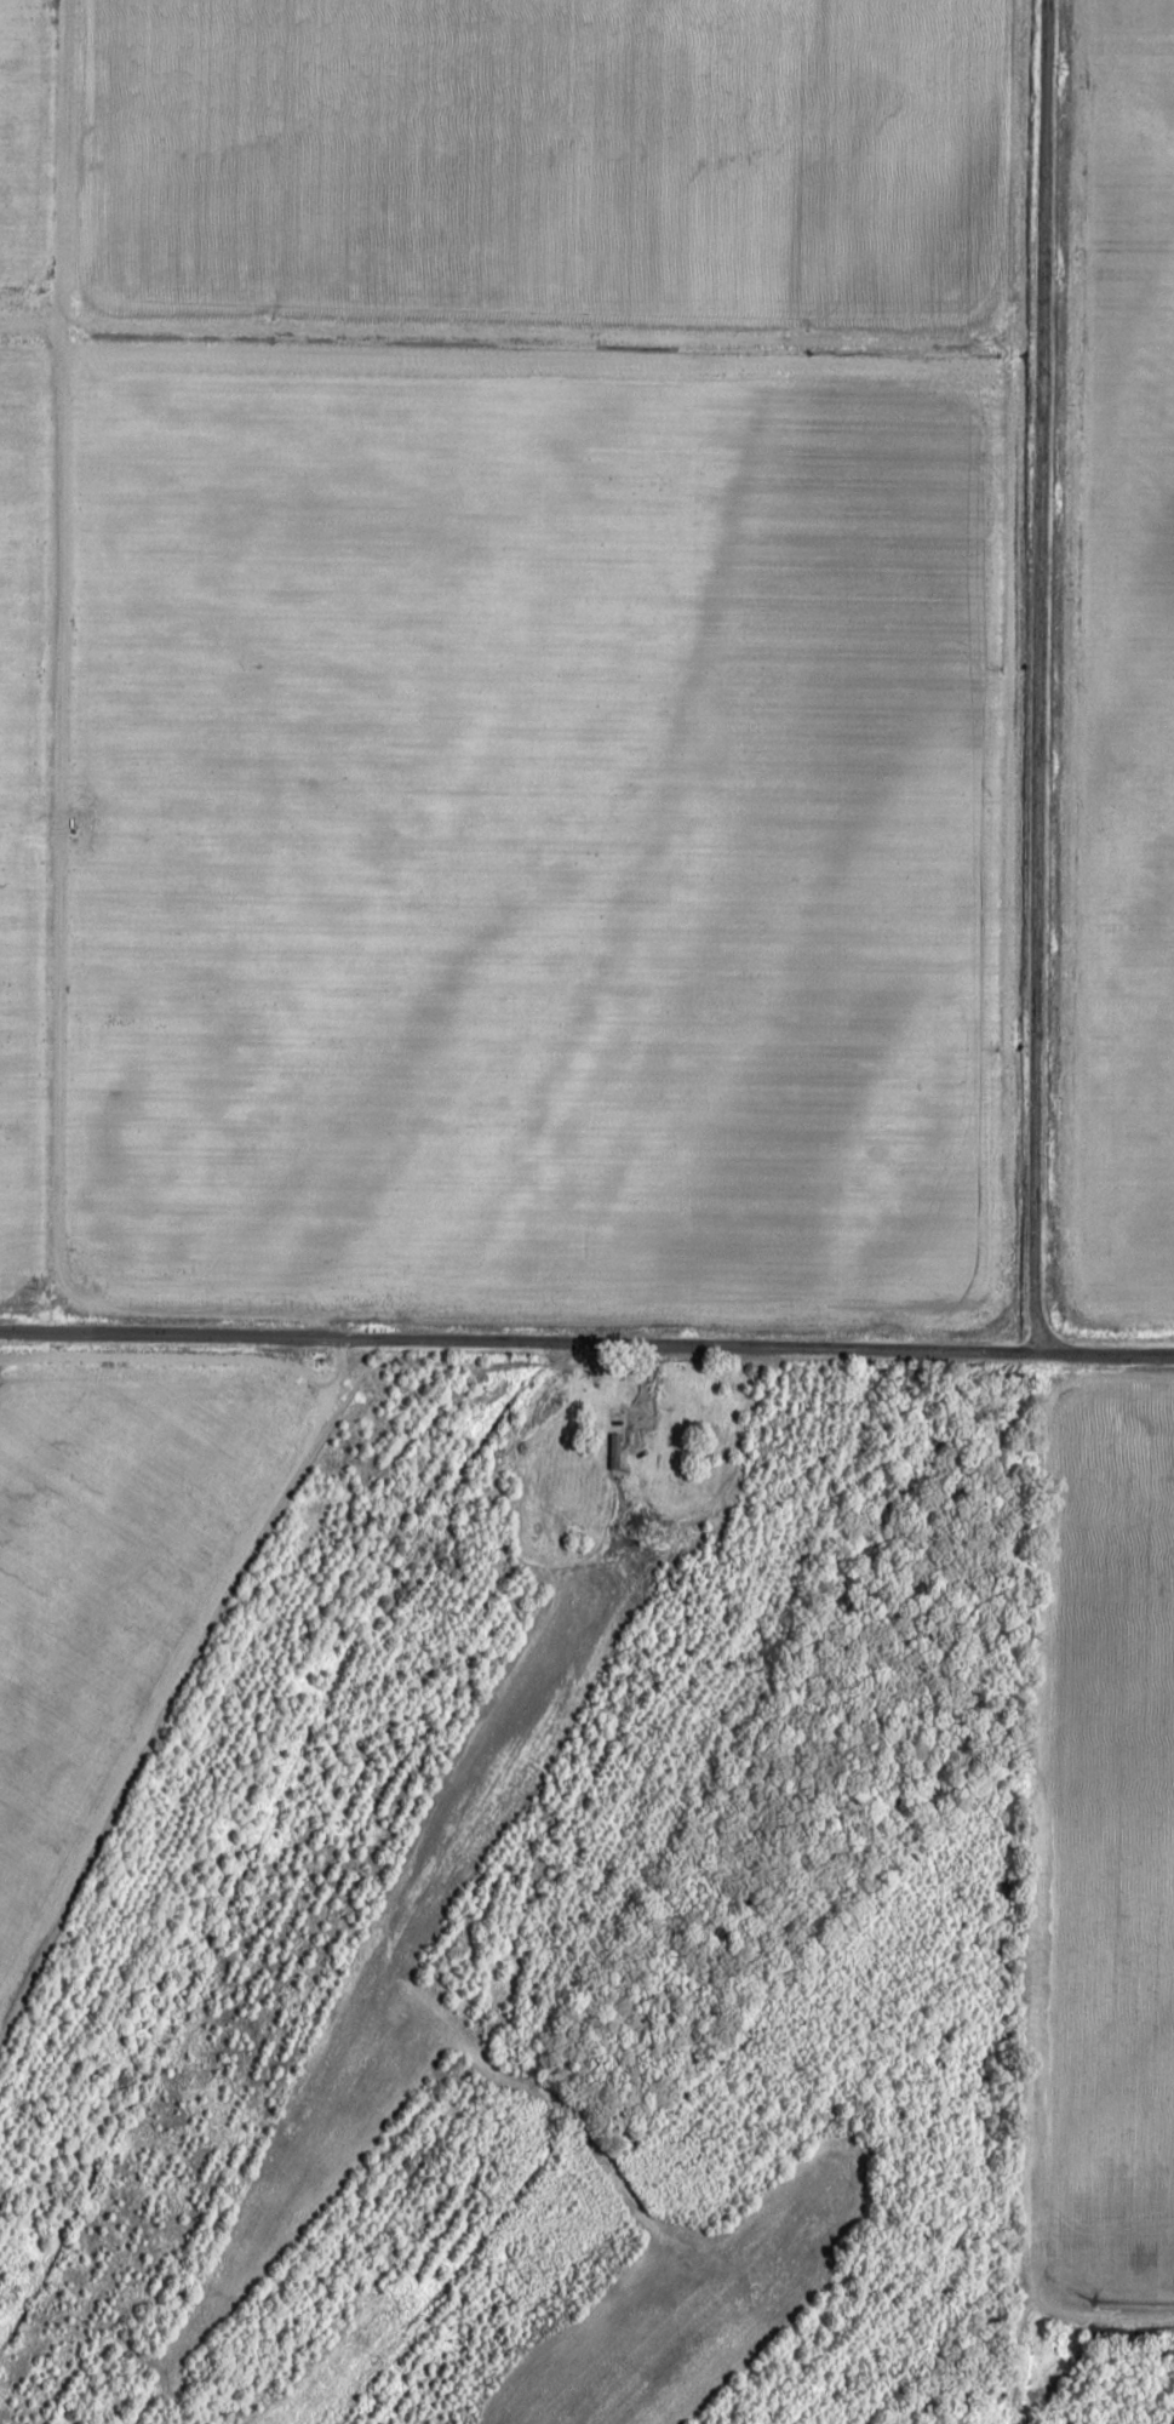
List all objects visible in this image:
road: (1033, 678)
road: (586, 1345)

